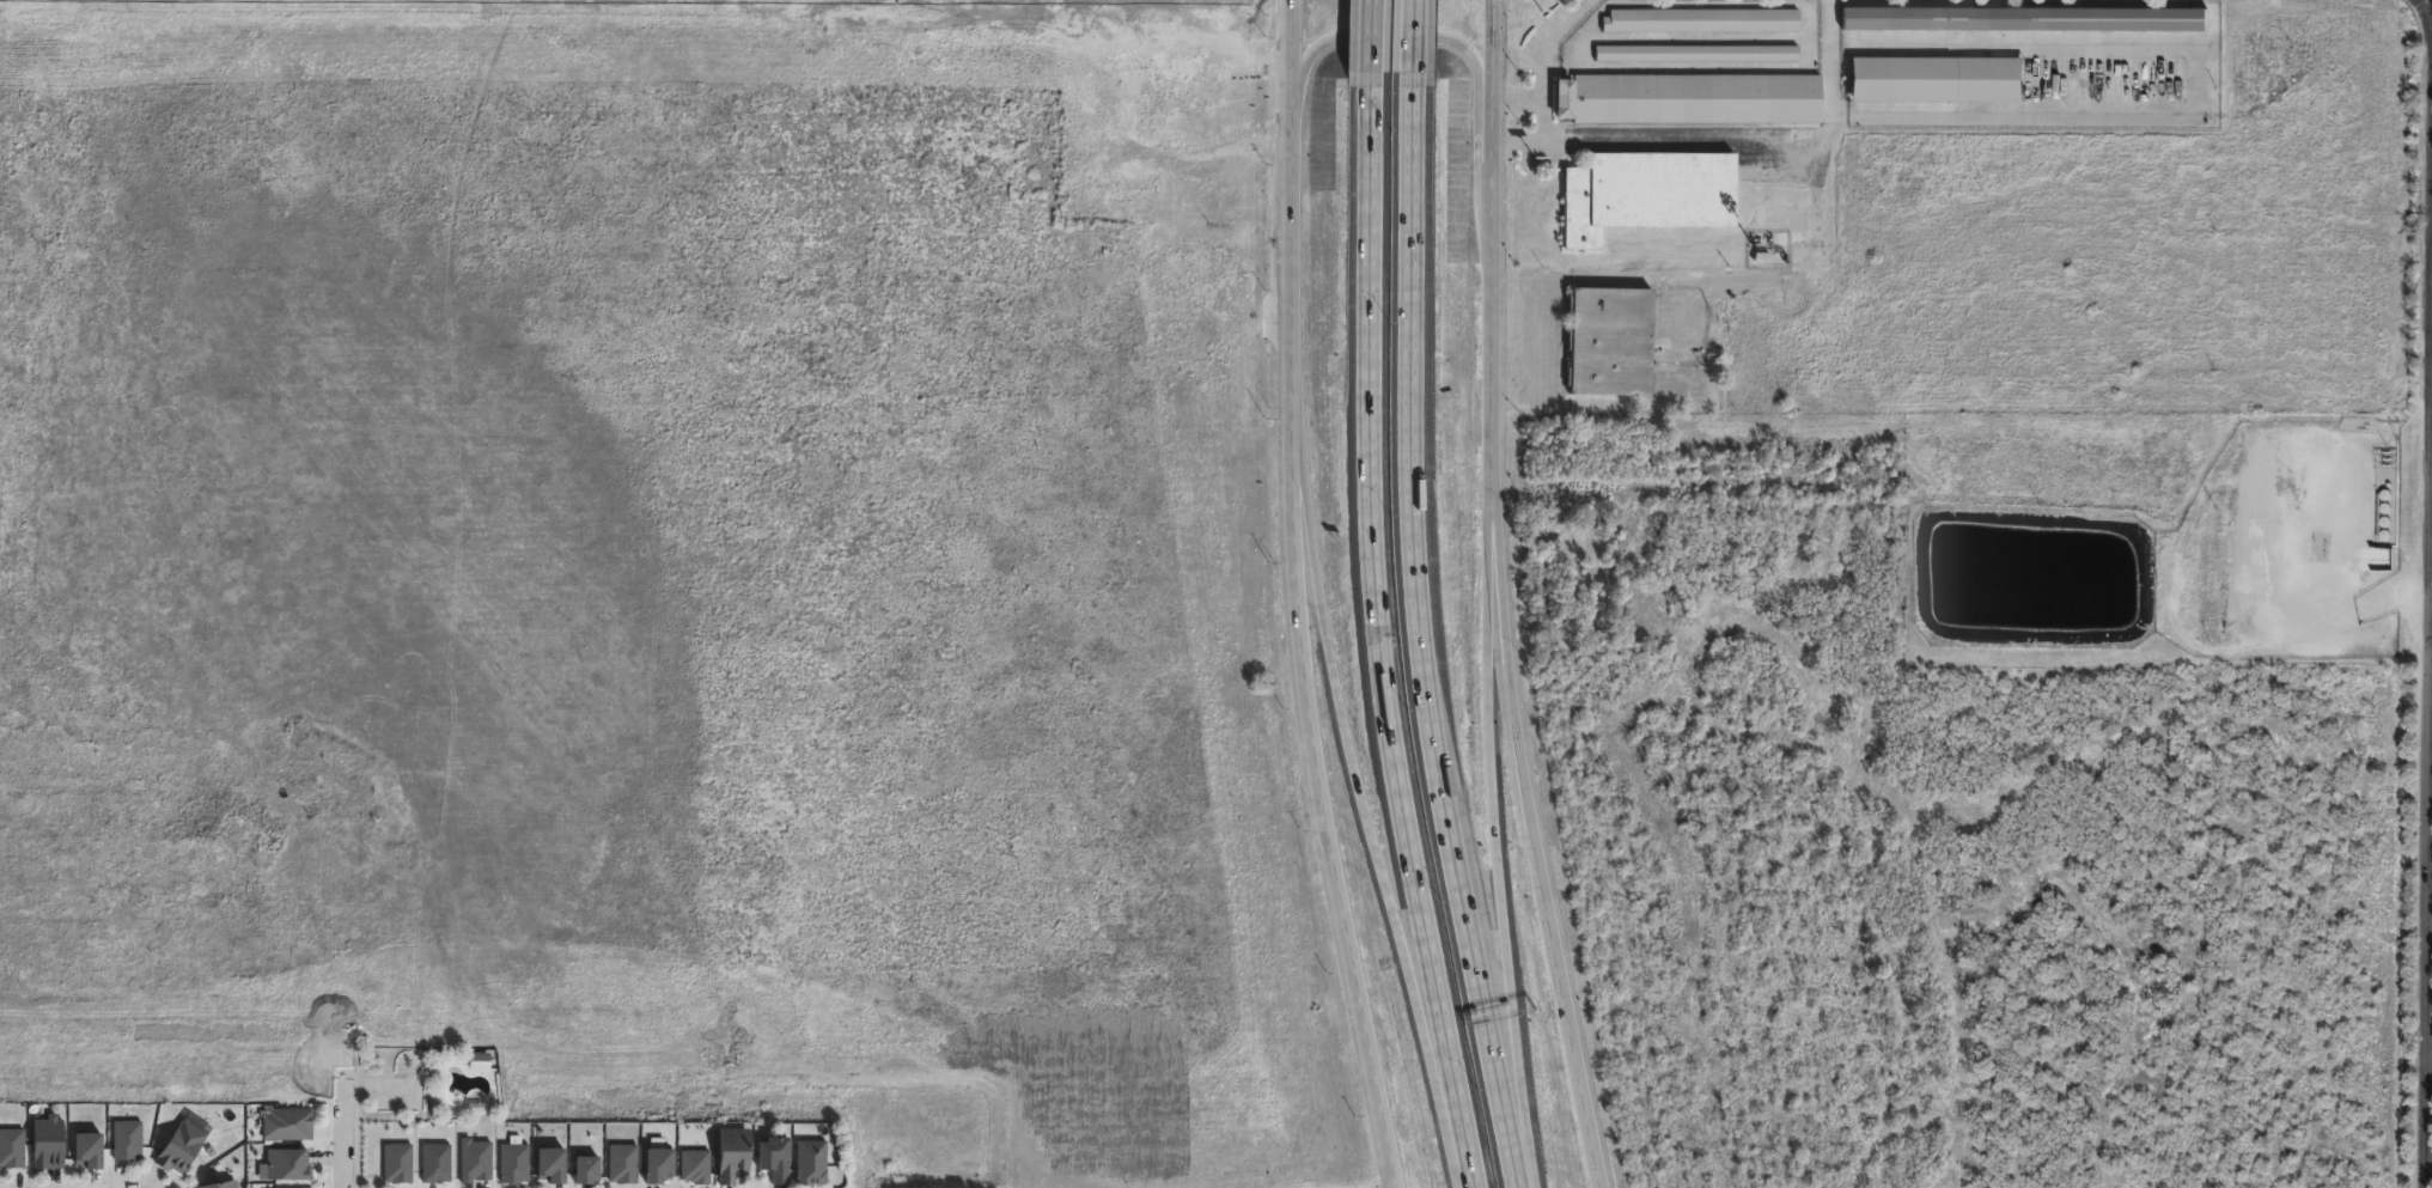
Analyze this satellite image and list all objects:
road: (2428, 5)
road: (915, 8)
building: (1697, 17)
building: (2024, 17)
road: (1383, 36)
road: (1372, 42)
road: (1413, 43)
building: (1693, 49)
road: (1546, 61)
building: (1934, 78)
building: (1687, 95)
road: (1724, 136)
building: (1644, 189)
road: (1491, 223)
building: (1607, 337)
road: (1678, 342)
road: (1677, 451)
road: (1640, 597)
road: (1291, 598)
road: (1705, 598)
road: (1768, 598)
road: (1378, 640)
road: (1422, 640)
road: (1507, 678)
road: (2040, 689)
road: (2337, 690)
road: (2430, 712)
road: (1970, 745)
road: (1360, 806)
road: (1491, 818)
road: (2177, 845)
road: (2326, 861)
road: (1640, 884)
road: (1705, 884)
road: (2300, 938)
road: (1822, 965)
road: (1767, 967)
road: (1672, 1024)
road: (1761, 1024)
road: (2349, 1024)
road: (2326, 1038)
road: (1867, 1043)
road: (2254, 1047)
road: (1572, 1048)
building: (479, 1061)
building: (2059, 1068)
road: (1913, 1088)
road: (2209, 1090)
road: (1703, 1105)
road: (343, 1122)
building: (288, 1123)
building: (127, 1138)
building: (49, 1141)
building: (12, 1146)
building: (89, 1147)
building: (179, 1150)
building: (732, 1152)
building: (775, 1157)
building: (475, 1160)
building: (812, 1162)
building: (288, 1163)
building: (398, 1163)
building: (623, 1163)
building: (437, 1164)
building: (516, 1164)
building: (553, 1166)
building: (660, 1166)
building: (696, 1166)
building: (589, 1171)
building: (220, 1184)

